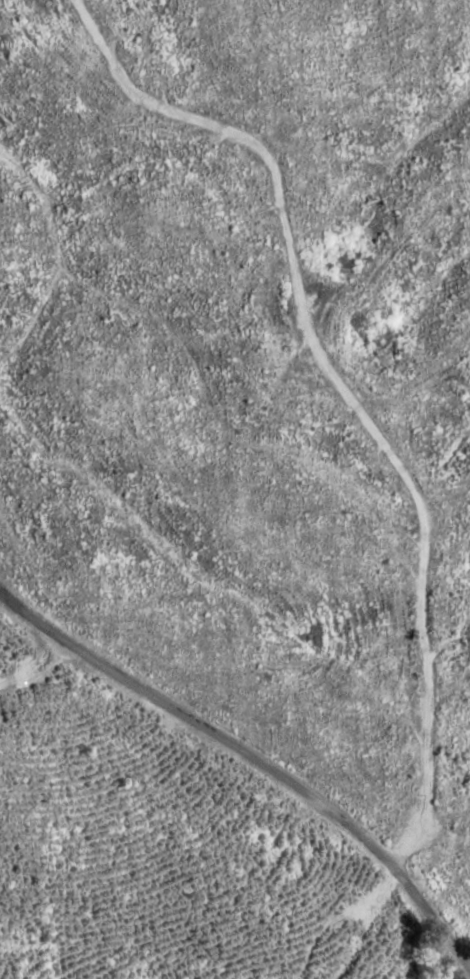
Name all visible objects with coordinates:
road: (222, 783)

